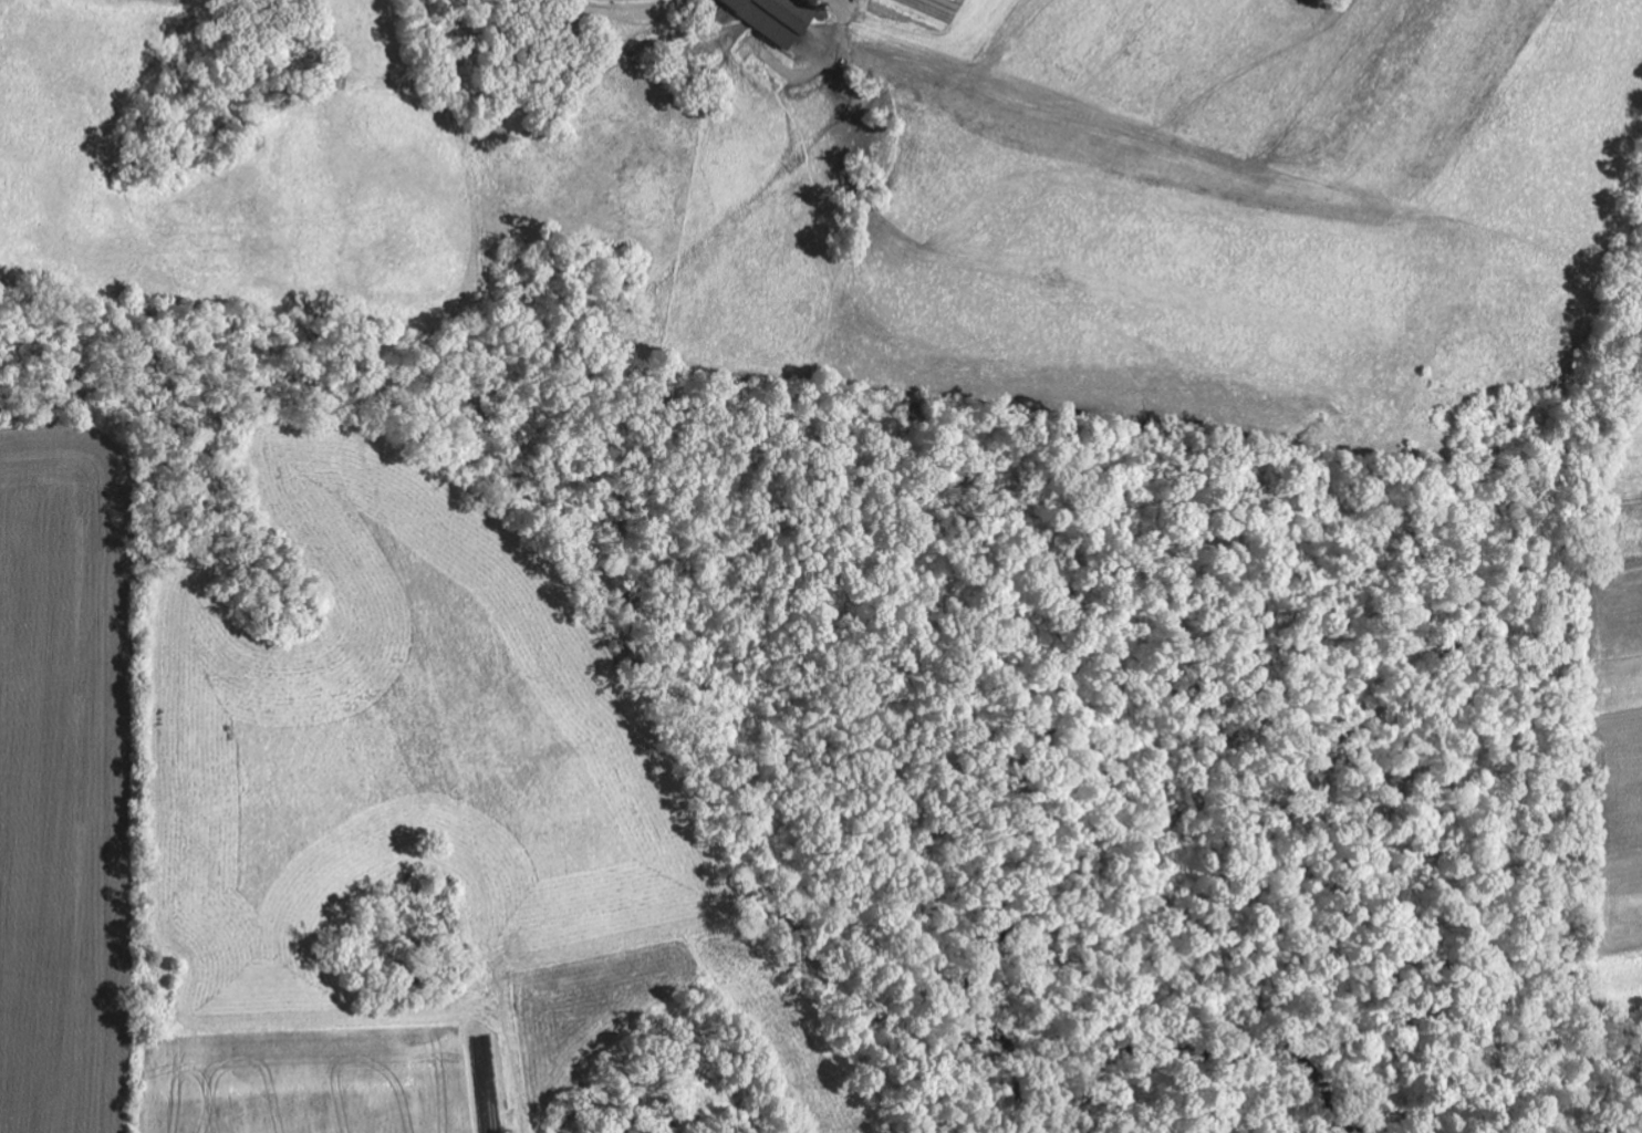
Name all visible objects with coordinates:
building: (852, 0)
building: (777, 18)

